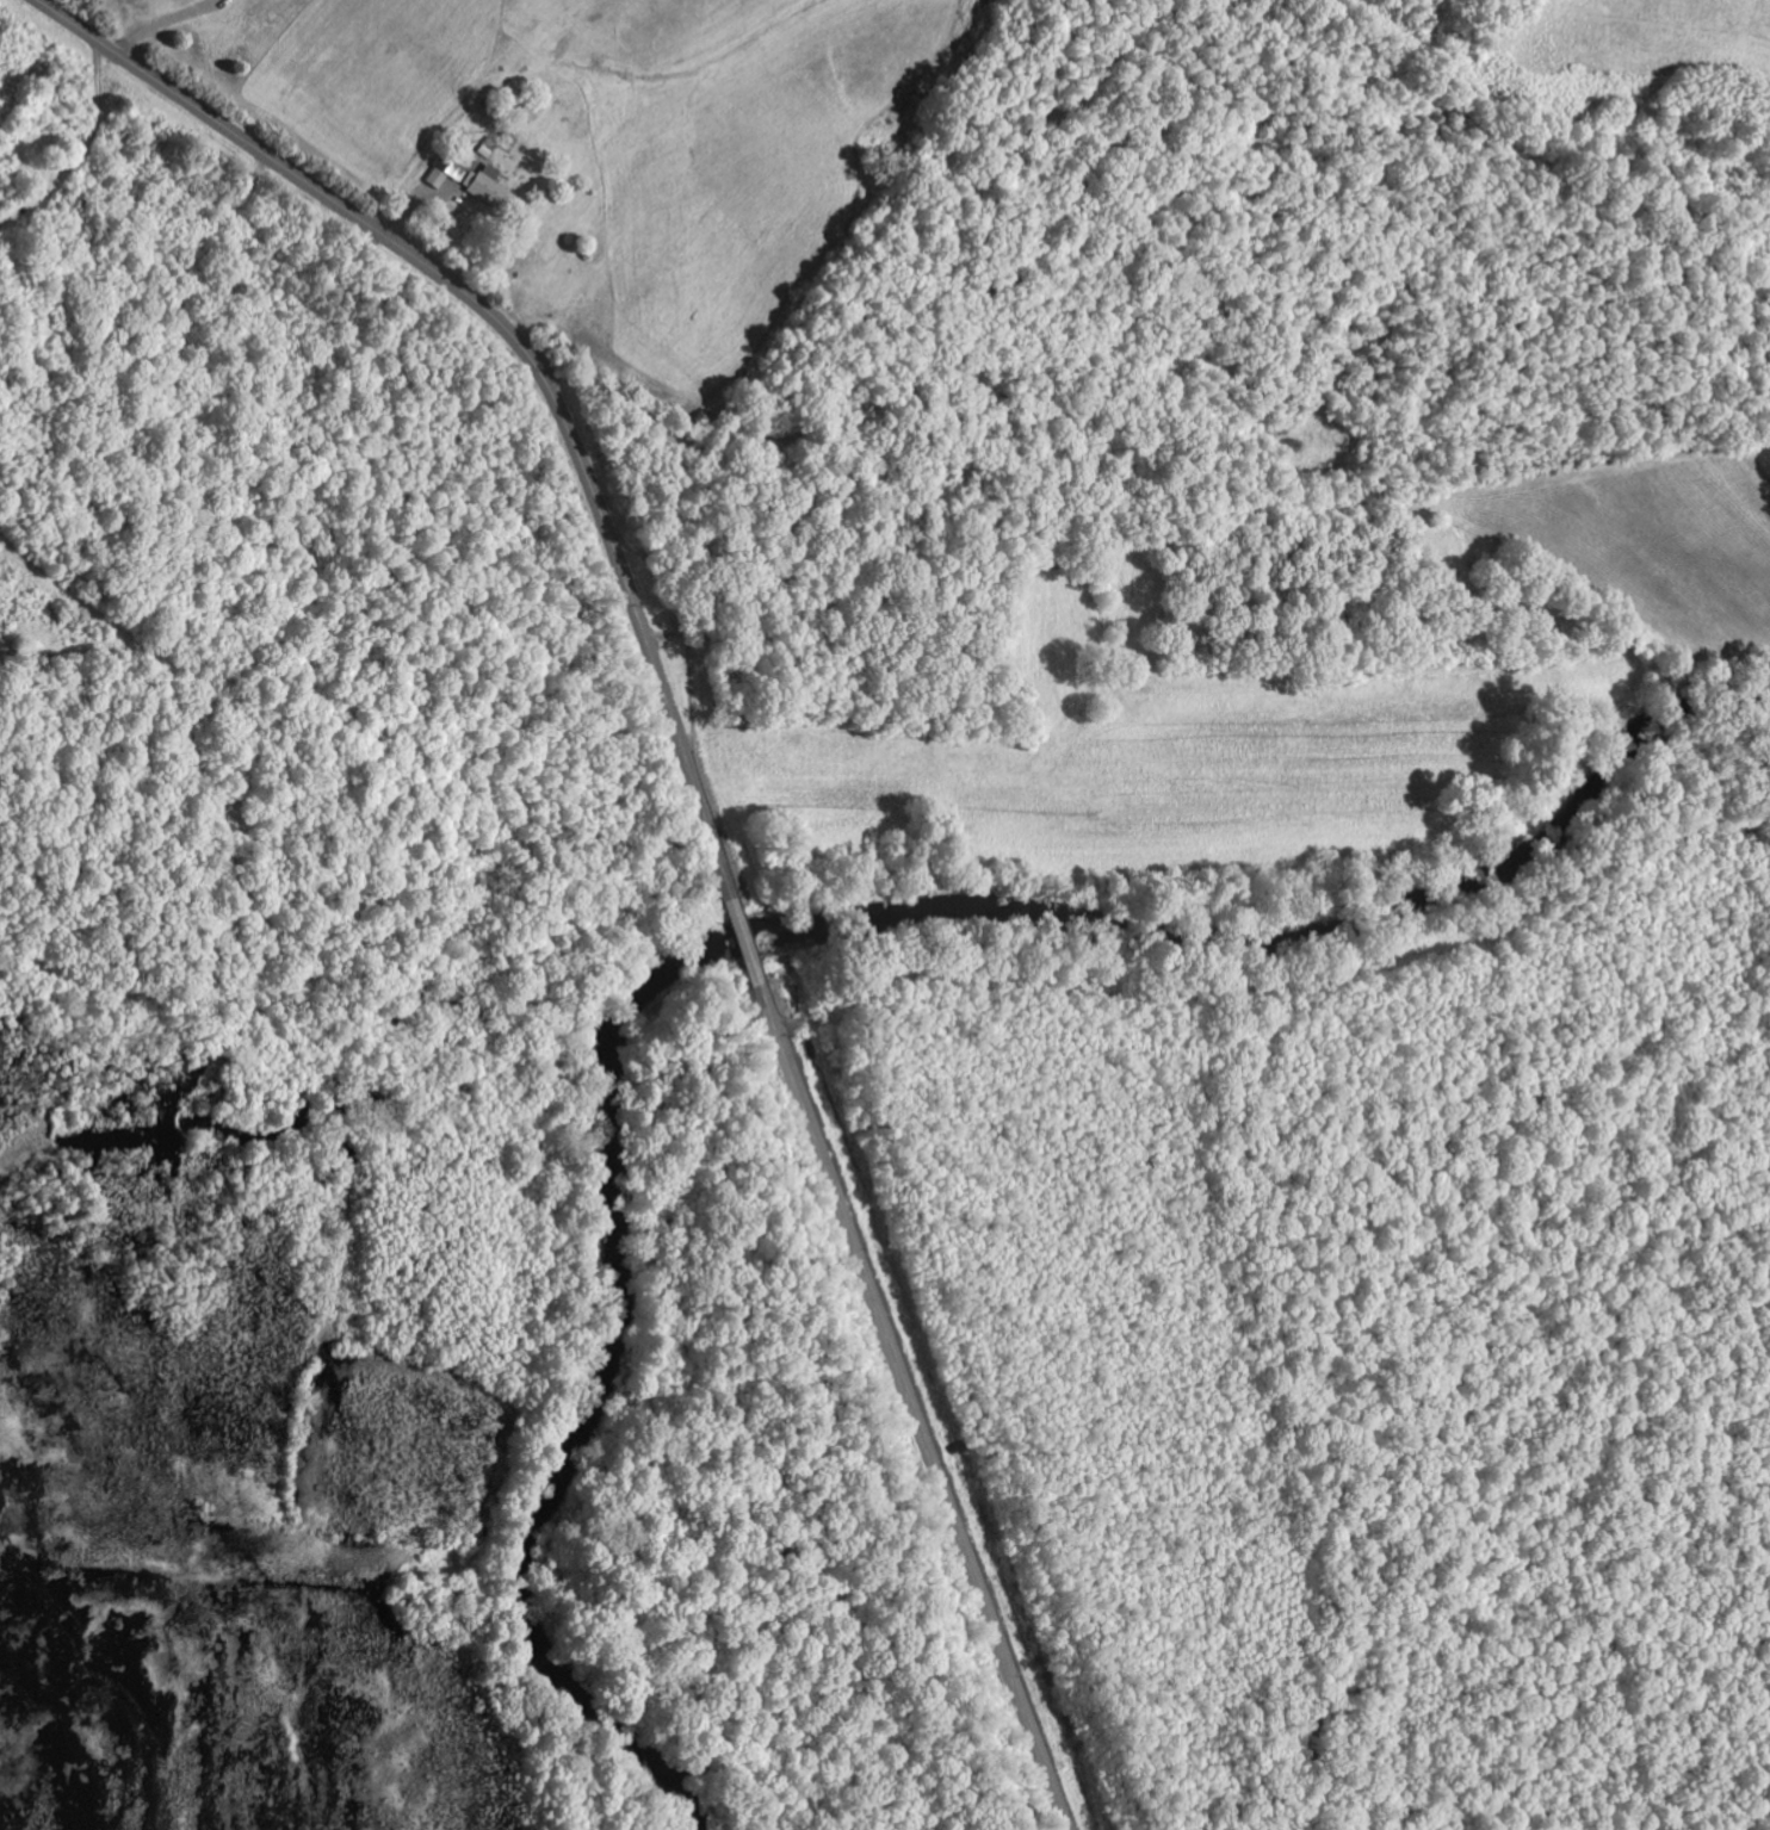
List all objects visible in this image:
building: (475, 184)
road: (531, 359)
river: (766, 924)
road: (905, 1381)

